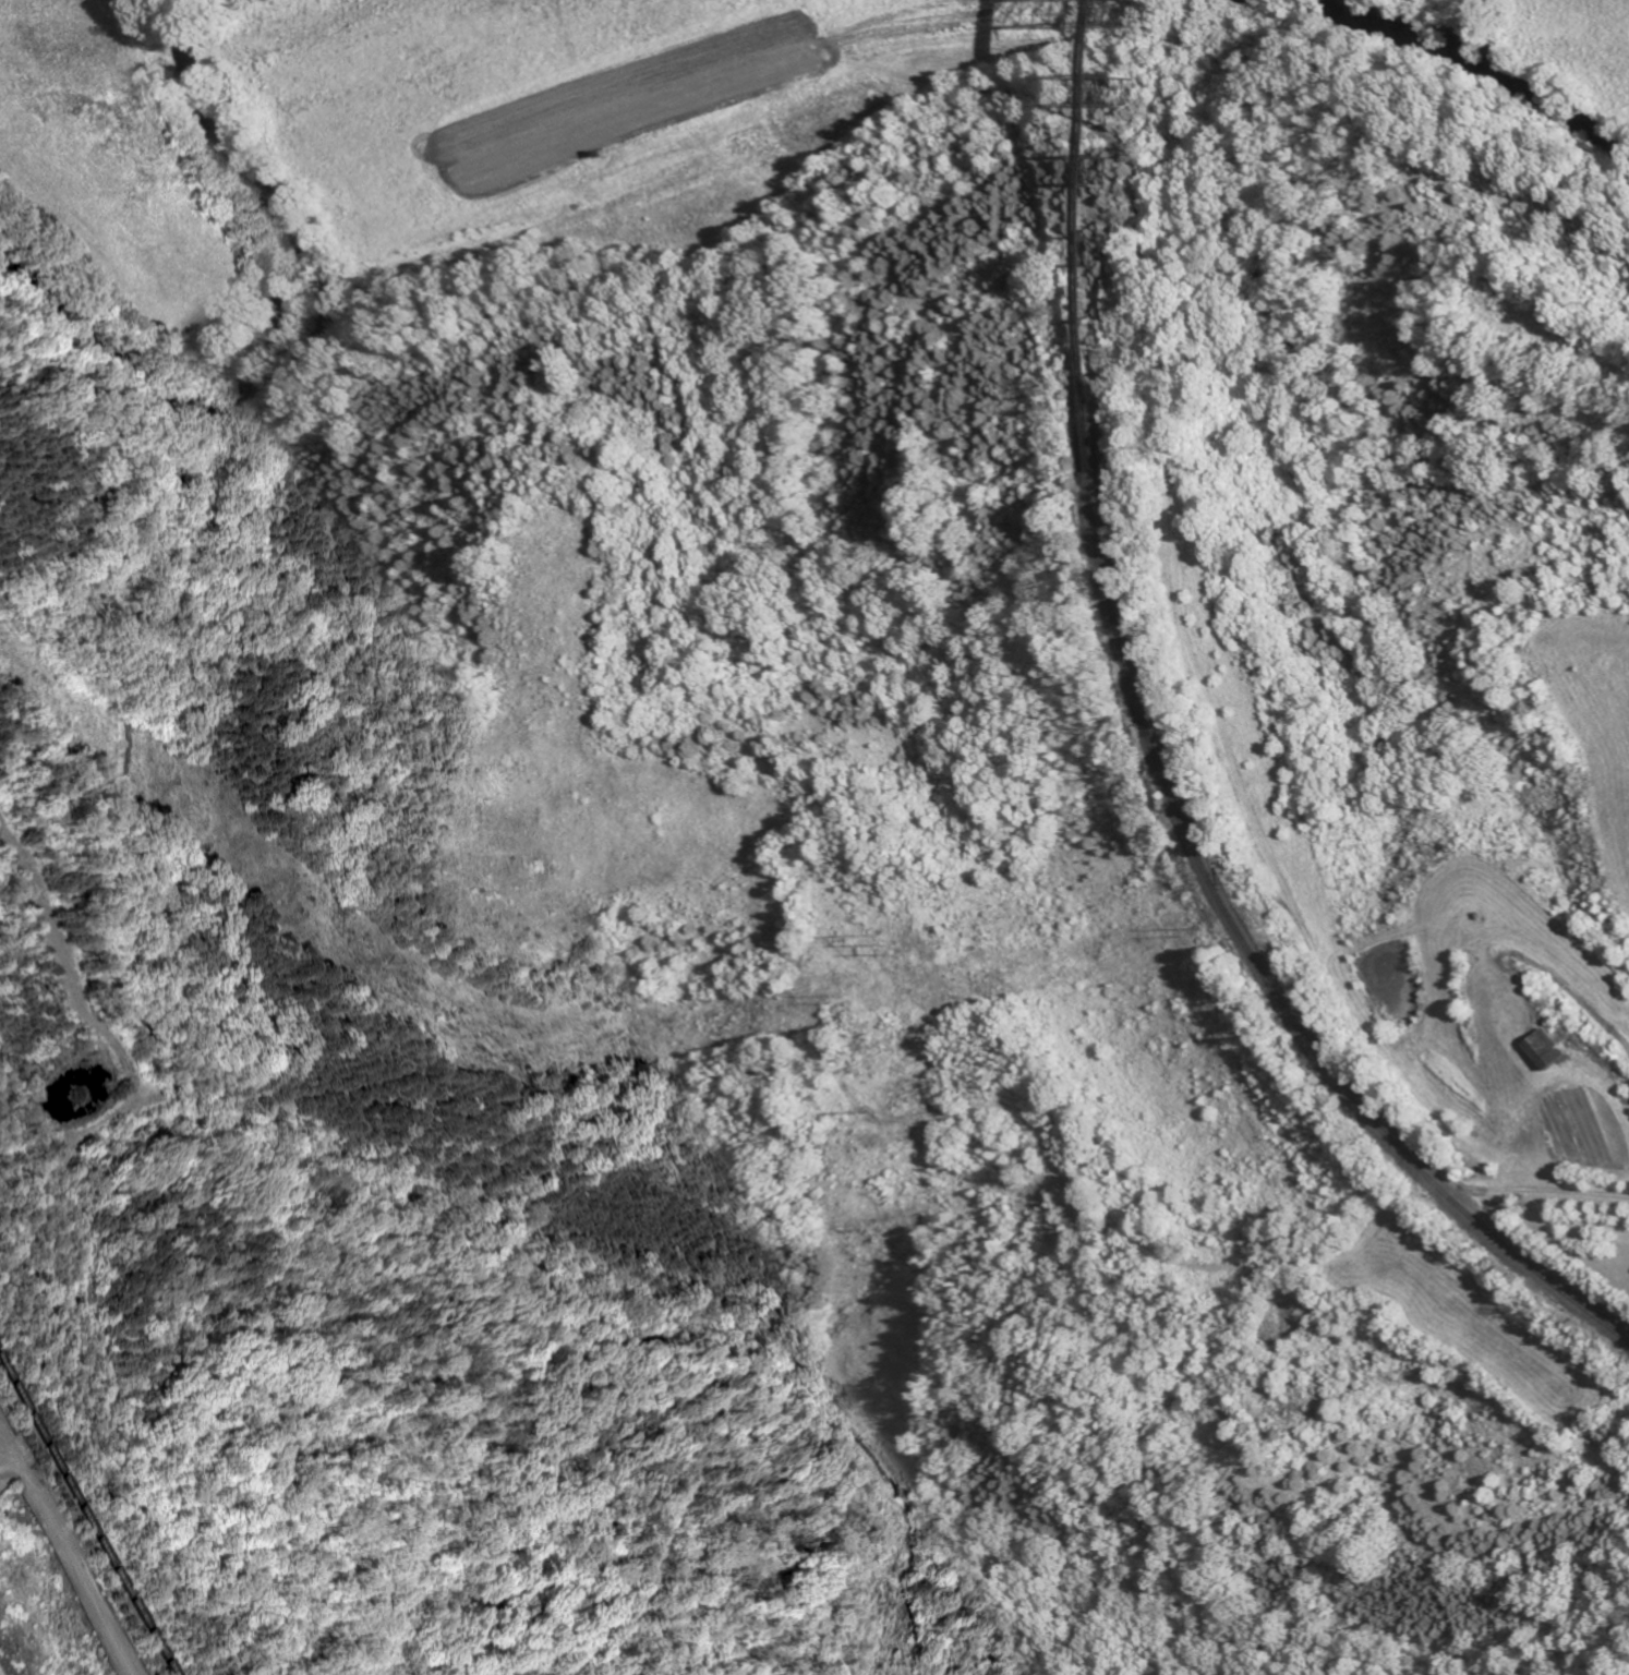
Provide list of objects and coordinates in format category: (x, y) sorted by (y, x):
railway: (1087, 239)
power tower: (1258, 873)
power tower: (1196, 927)
power tower: (886, 941)
power tower: (382, 962)
railway: (1264, 967)
power tower: (828, 995)
building: (1552, 1050)
power tower: (495, 1059)
power tower: (883, 1110)
railway: (88, 1547)
road: (63, 1586)

